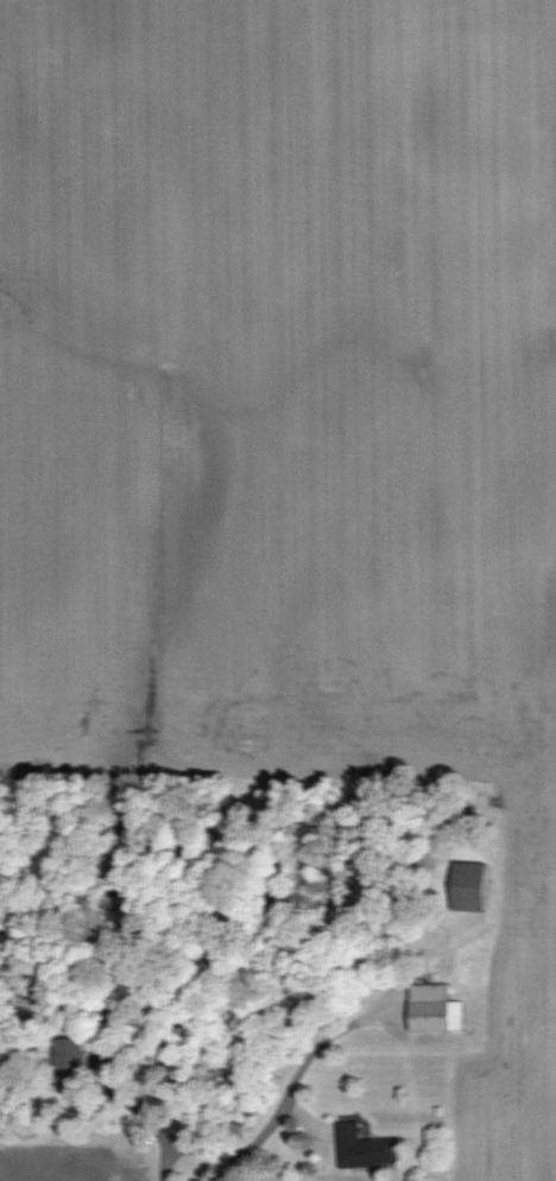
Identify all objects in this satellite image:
building: (469, 886)
building: (436, 1009)
building: (69, 1061)
building: (365, 1149)
road: (182, 1157)

